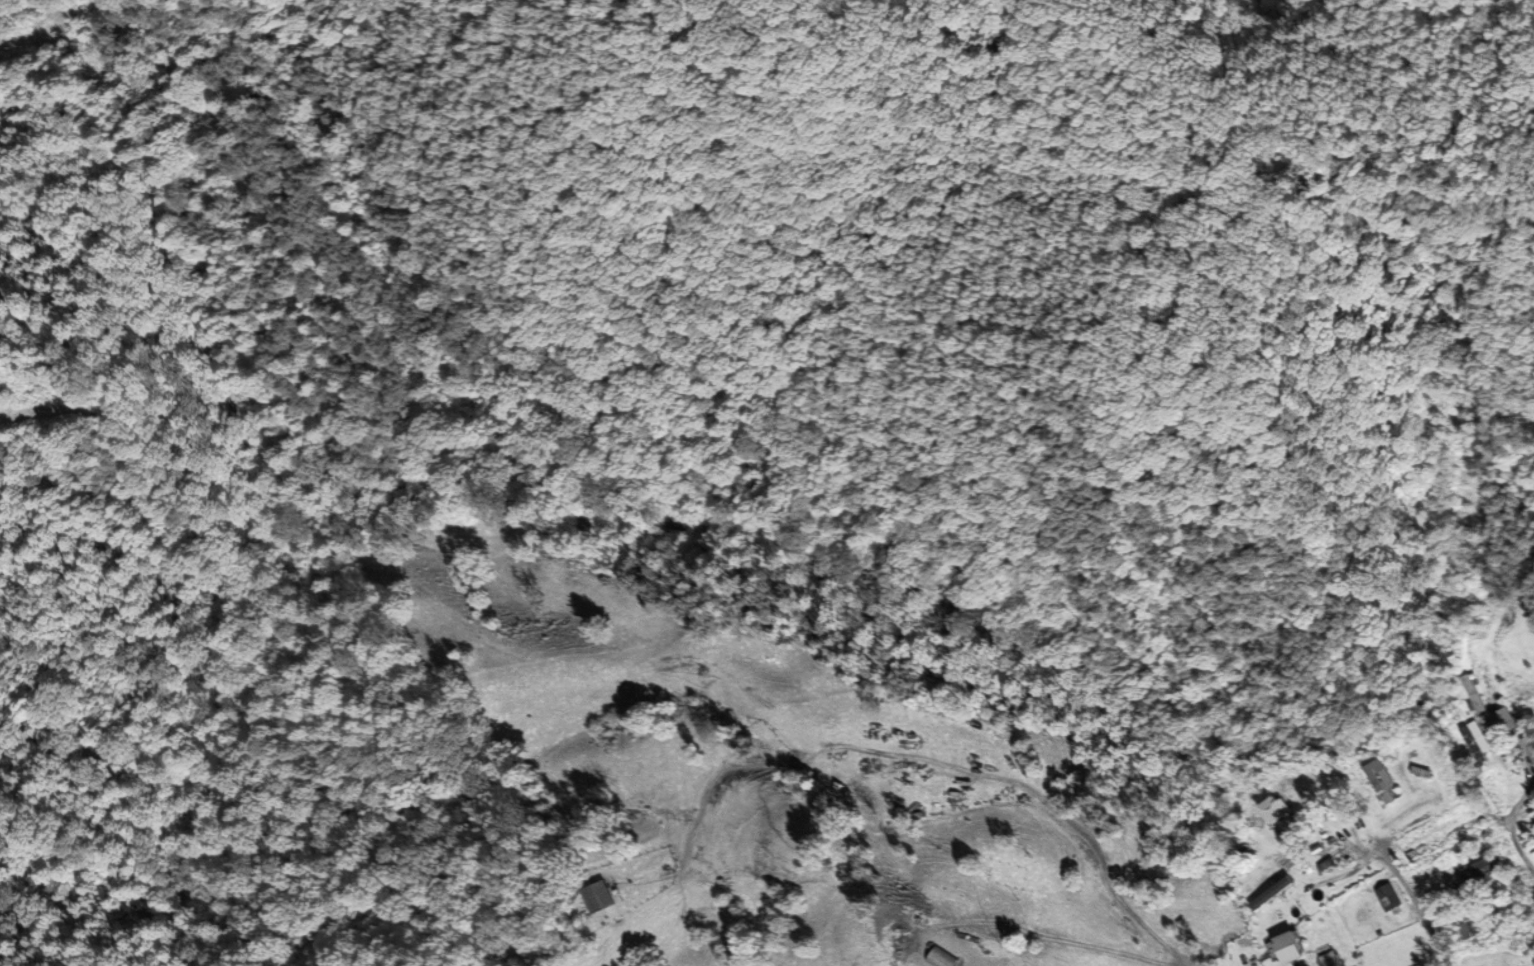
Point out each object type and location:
building: (1504, 721)
building: (738, 741)
building: (1421, 770)
building: (1280, 817)
road: (1515, 820)
building: (1329, 859)
building: (598, 898)
building: (1388, 898)
building: (1468, 932)
building: (1288, 949)
building: (938, 959)
building: (1328, 960)

